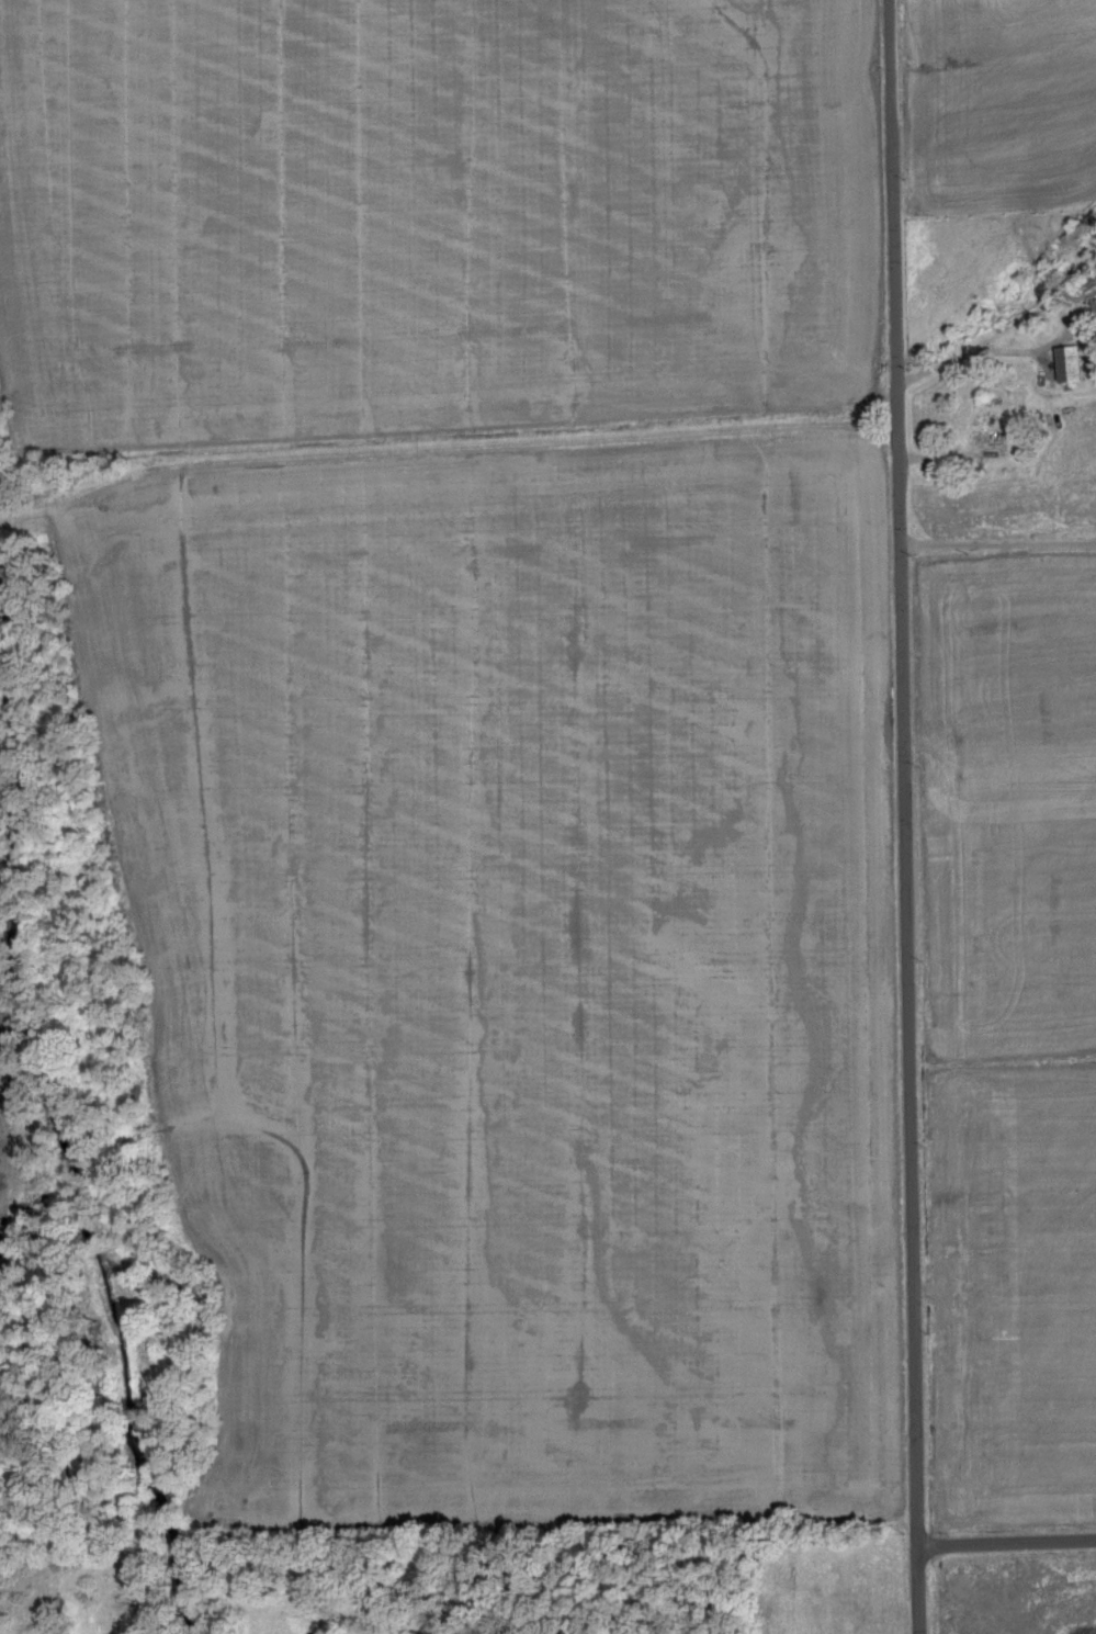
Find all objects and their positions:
building: (1094, 303)
road: (961, 348)
building: (1069, 363)
road: (902, 816)
road: (1007, 1545)

